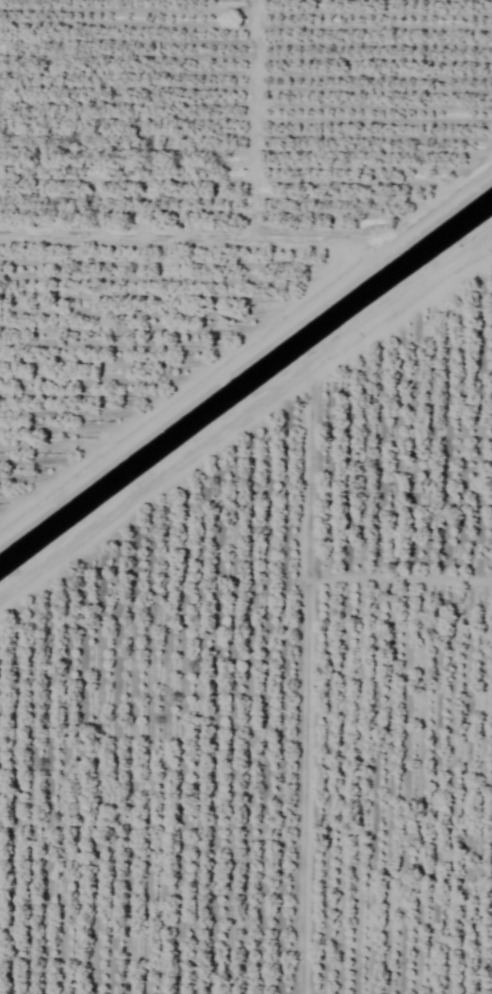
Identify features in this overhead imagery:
road: (239, 230)
road: (240, 416)
crop: (246, 497)

